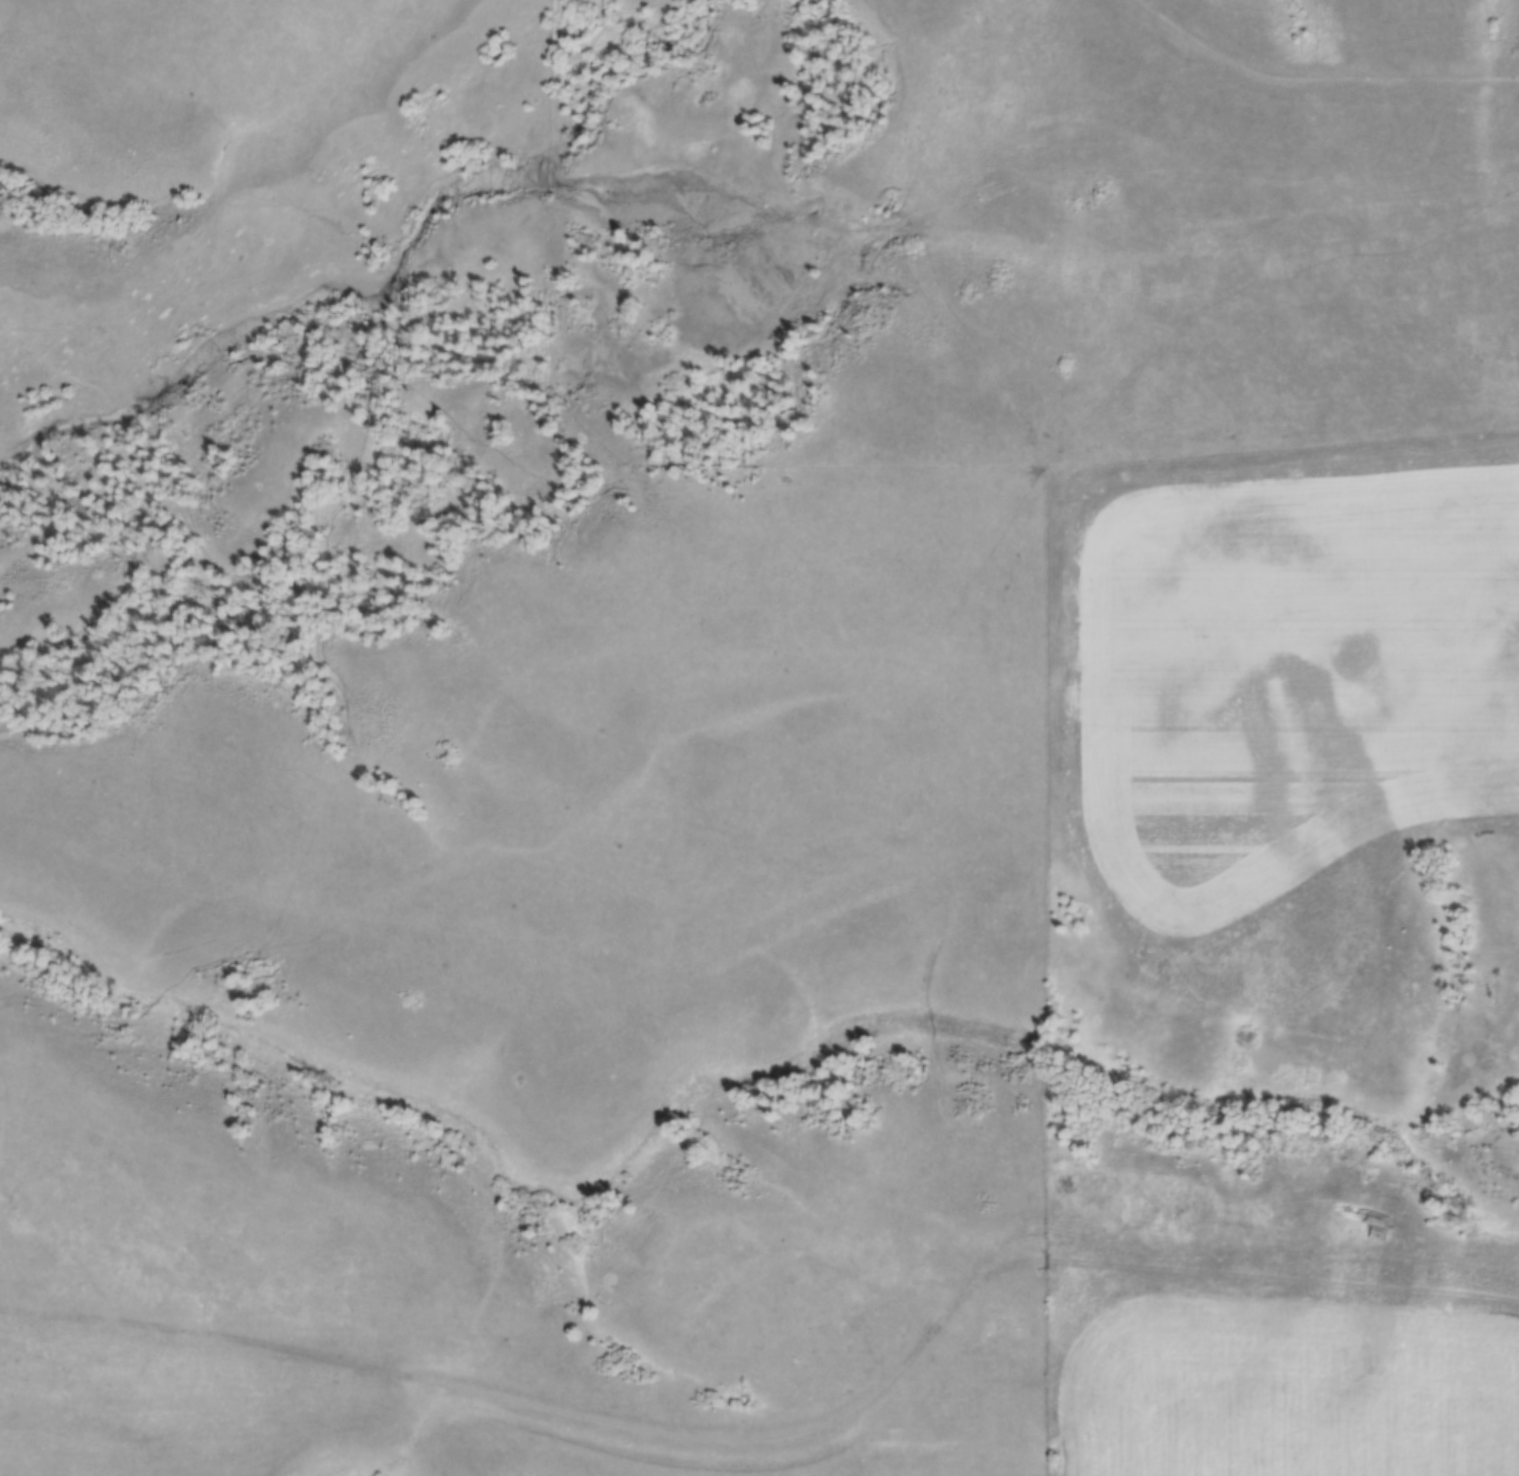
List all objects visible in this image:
road: (802, 1437)

